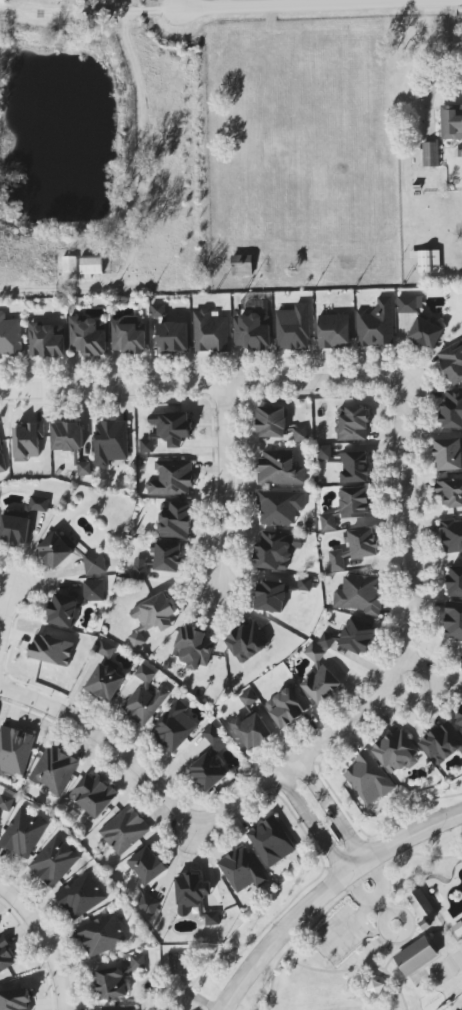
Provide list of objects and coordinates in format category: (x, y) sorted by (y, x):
road: (285, 1)
road: (337, 1)
road: (224, 2)
road: (288, 2)
road: (173, 3)
road: (445, 65)
building: (451, 121)
building: (430, 154)
road: (139, 186)
building: (428, 261)
building: (70, 264)
building: (242, 265)
building: (91, 266)
building: (159, 311)
building: (419, 321)
building: (376, 324)
building: (293, 328)
building: (253, 330)
building: (333, 330)
building: (211, 332)
building: (10, 333)
building: (129, 335)
building: (89, 336)
building: (174, 336)
building: (47, 340)
building: (452, 362)
building: (452, 410)
building: (277, 423)
building: (352, 424)
building: (168, 430)
building: (28, 441)
building: (110, 442)
building: (71, 443)
building: (448, 454)
road: (404, 457)
building: (2, 460)
building: (348, 464)
building: (278, 468)
building: (172, 479)
road: (224, 491)
building: (450, 493)
building: (280, 506)
building: (350, 507)
building: (176, 520)
building: (21, 522)
building: (452, 536)
building: (354, 547)
building: (276, 550)
building: (69, 554)
building: (169, 555)
building: (141, 569)
building: (455, 582)
building: (278, 594)
building: (359, 594)
building: (74, 604)
road: (8, 614)
building: (152, 617)
building: (453, 620)
building: (358, 636)
building: (327, 640)
building: (196, 642)
building: (247, 642)
building: (52, 650)
building: (106, 675)
building: (320, 677)
road: (434, 691)
building: (145, 698)
building: (248, 698)
building: (288, 706)
building: (460, 720)
building: (174, 727)
building: (252, 730)
road: (108, 737)
building: (215, 738)
building: (442, 743)
building: (15, 748)
building: (397, 752)
building: (55, 770)
building: (208, 772)
building: (369, 778)
building: (94, 795)
building: (6, 802)
road: (334, 809)
road: (311, 824)
building: (126, 831)
building: (23, 834)
building: (272, 841)
road: (175, 855)
road: (404, 857)
building: (54, 862)
building: (243, 870)
building: (147, 877)
road: (324, 890)
building: (79, 896)
building: (194, 897)
road: (378, 897)
road: (19, 901)
road: (384, 905)
building: (423, 906)
road: (384, 921)
road: (313, 927)
road: (349, 928)
parking lot: (341, 933)
building: (102, 935)
road: (386, 941)
road: (354, 946)
road: (396, 953)
building: (5, 956)
building: (416, 956)
road: (56, 963)
road: (356, 968)
park: (448, 968)
building: (116, 979)
road: (195, 995)
building: (15, 1000)
building: (119, 1008)
park: (366, 1009)
building: (461, 1009)

